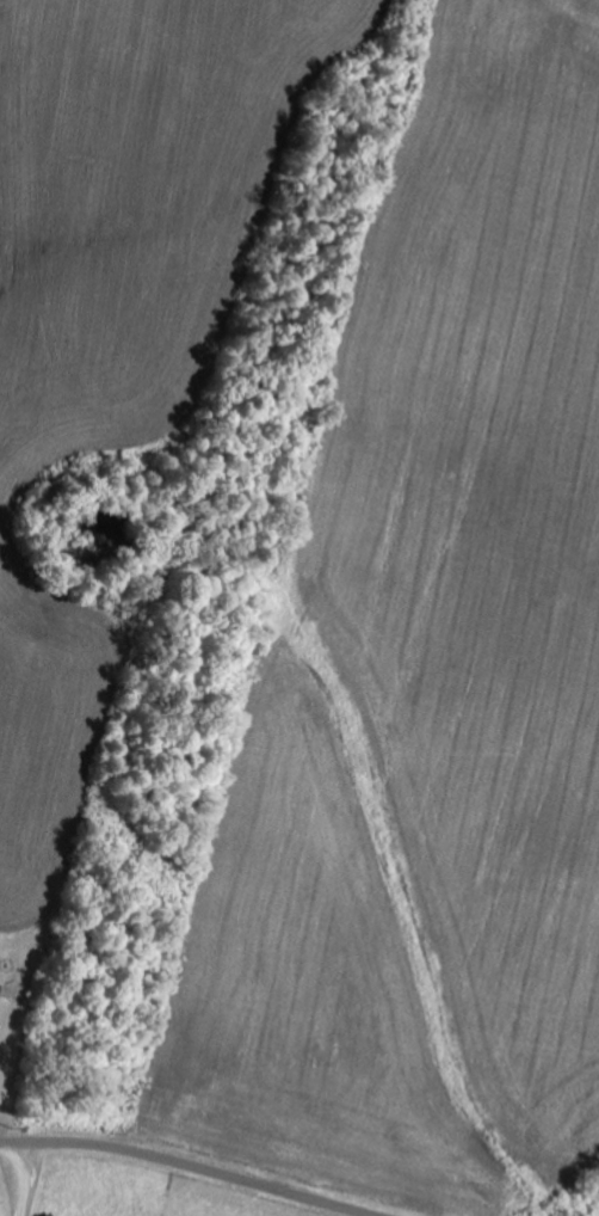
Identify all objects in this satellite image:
road: (189, 1165)
road: (27, 1180)

